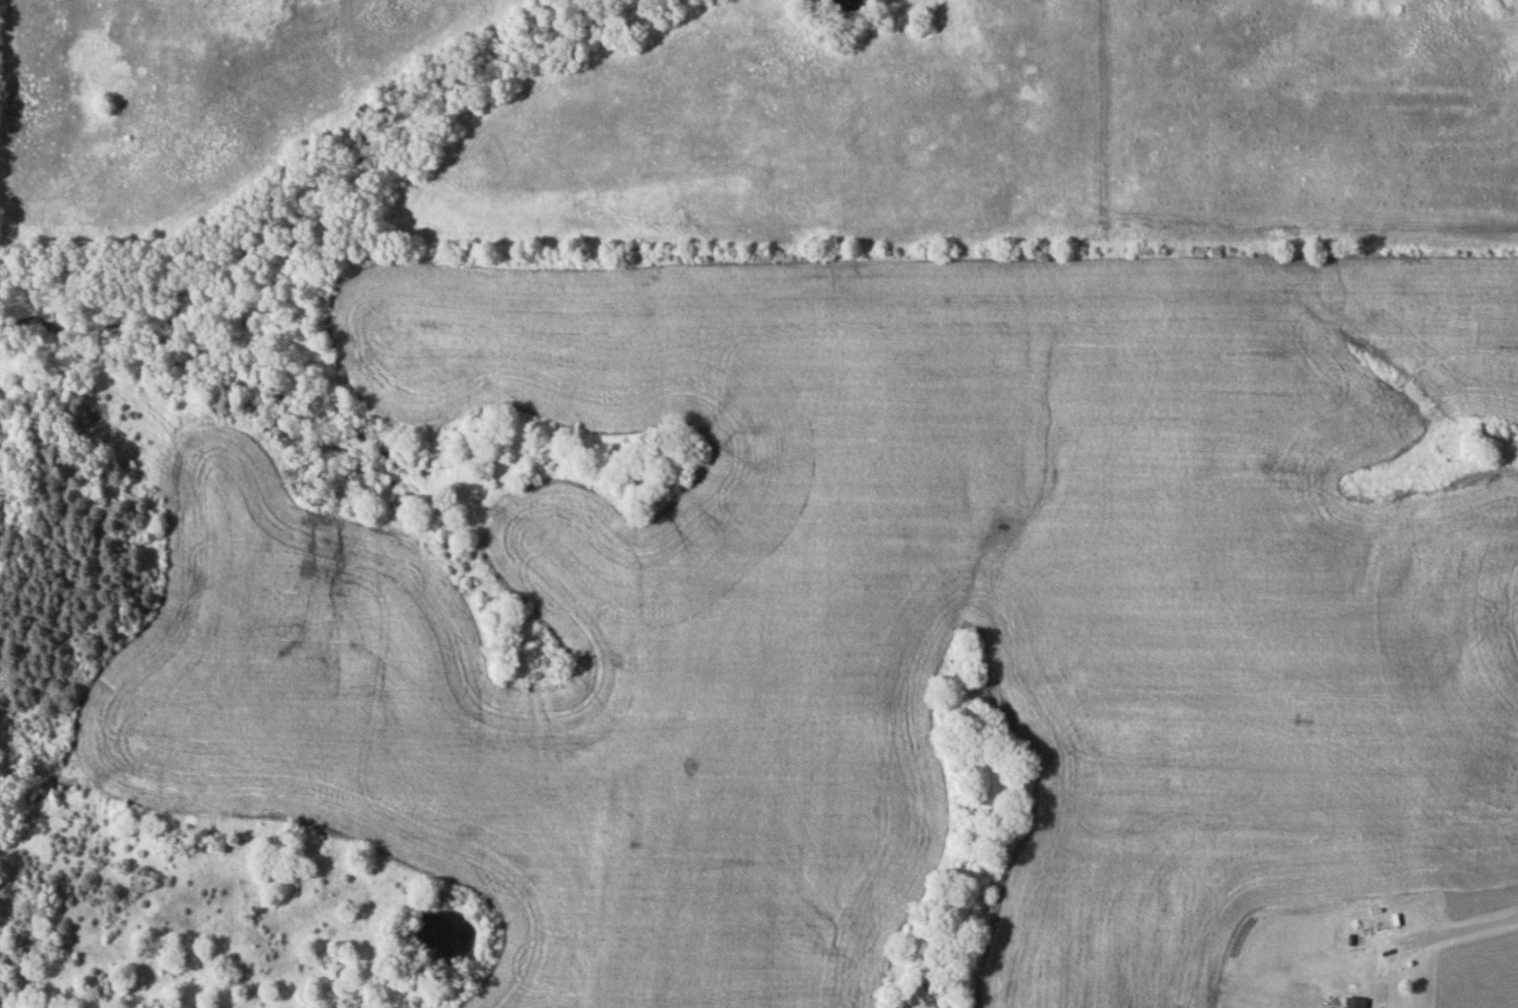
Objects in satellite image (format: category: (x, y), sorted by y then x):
road: (1430, 937)
building: (1357, 1003)

